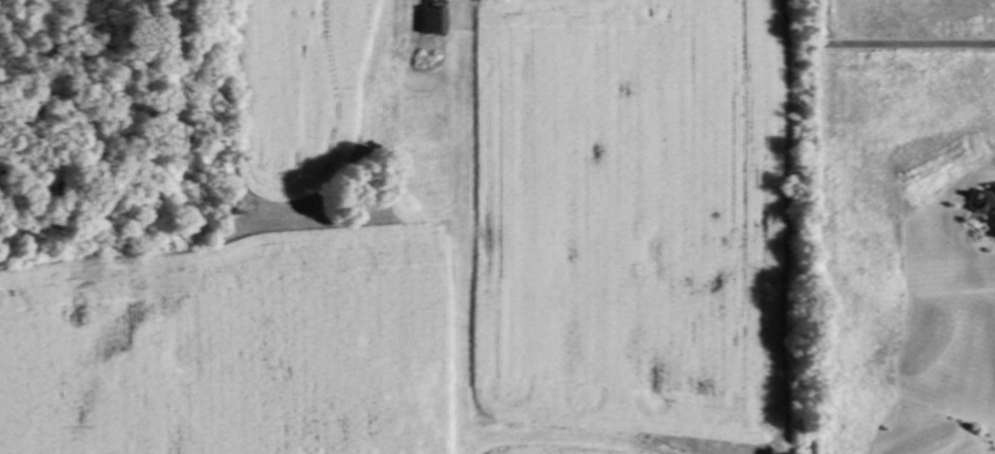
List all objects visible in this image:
building: (433, 18)
road: (905, 43)

